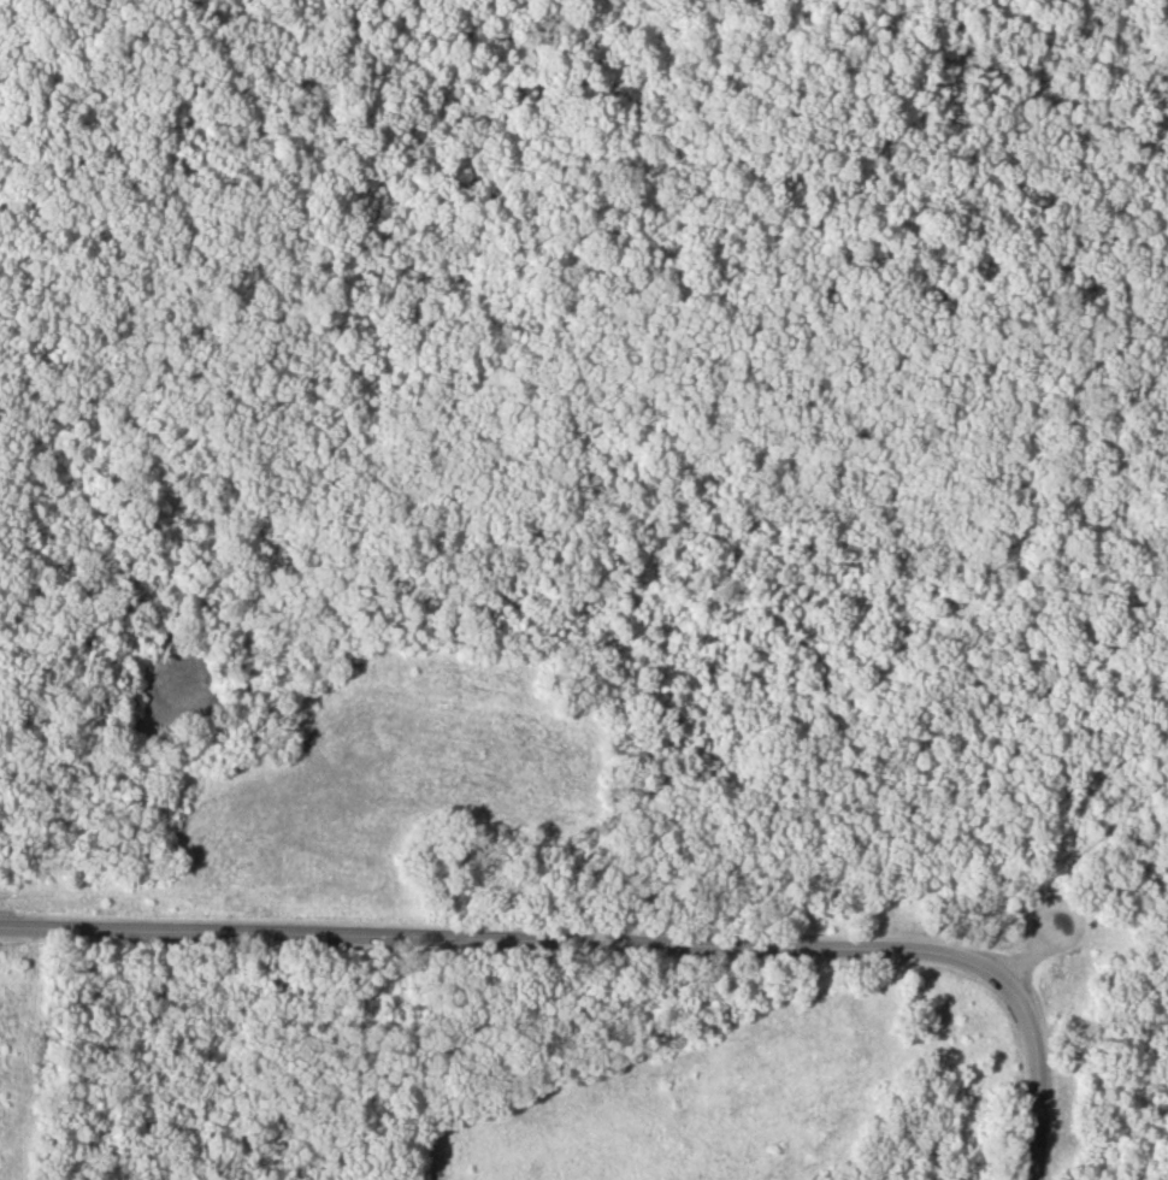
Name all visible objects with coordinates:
road: (590, 126)
park: (584, 590)
road: (1070, 633)
road: (1157, 689)
road: (1157, 704)
road: (1028, 790)
parking lot: (1055, 919)
road: (612, 936)
road: (1022, 960)

